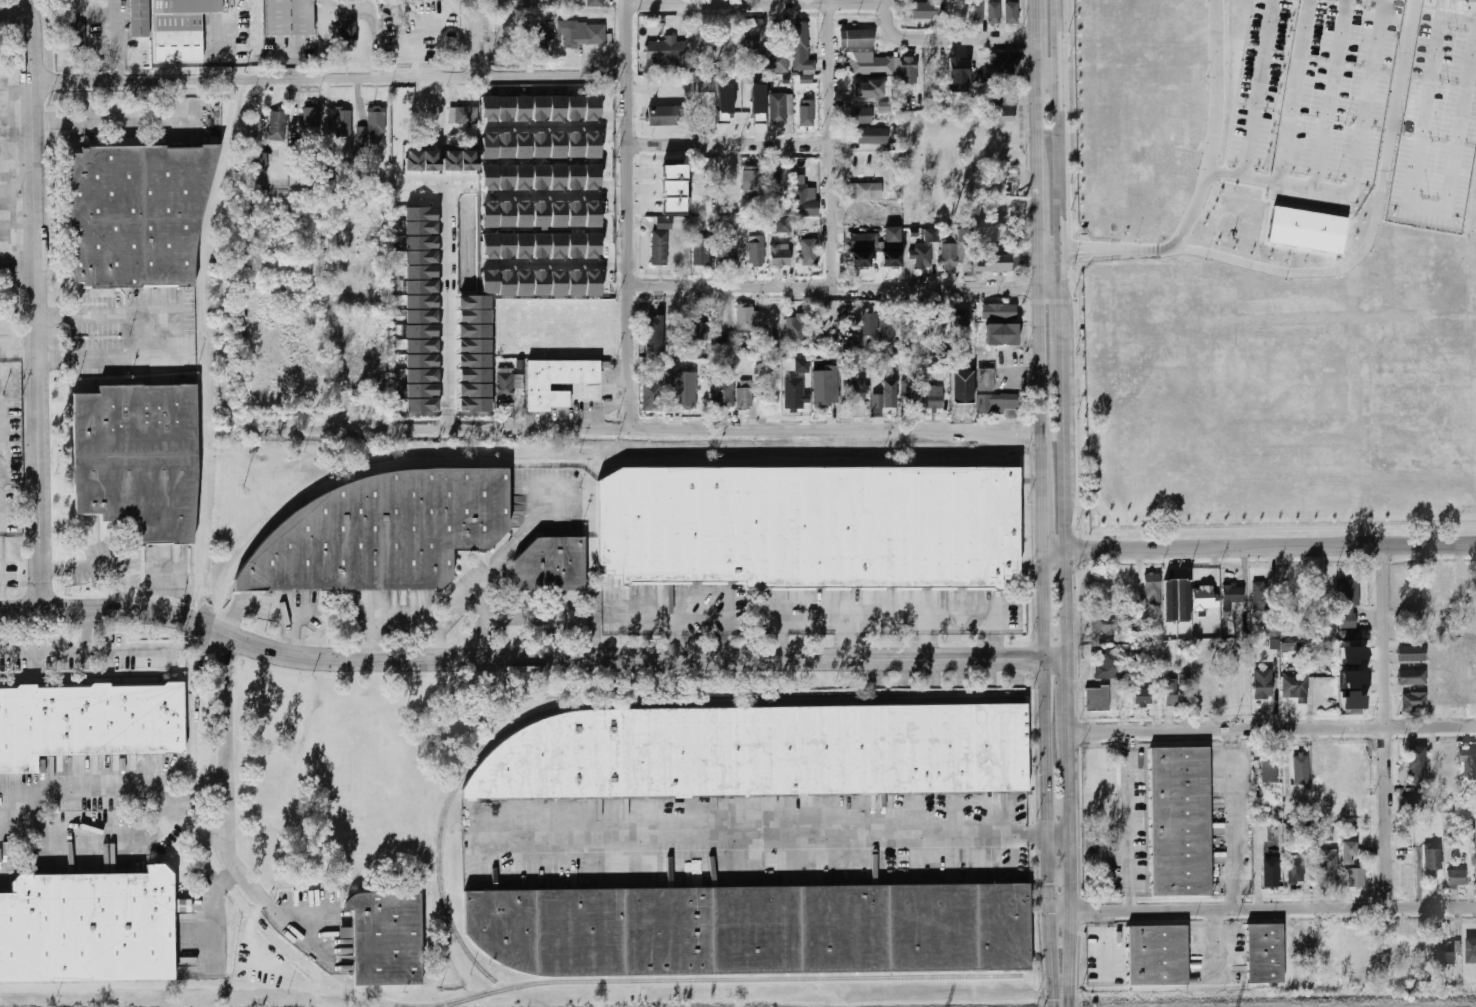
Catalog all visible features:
building: (525, 0)
building: (594, 3)
road: (888, 3)
road: (758, 5)
building: (187, 6)
building: (438, 9)
building: (922, 11)
building: (976, 12)
building: (994, 13)
building: (1012, 13)
building: (139, 18)
building: (291, 18)
road: (1036, 19)
building: (583, 34)
building: (753, 34)
building: (544, 35)
building: (348, 36)
building: (178, 38)
road: (481, 38)
building: (857, 38)
road: (949, 40)
building: (714, 48)
building: (801, 48)
road: (1267, 49)
road: (1377, 53)
building: (667, 54)
road: (1302, 54)
road: (1036, 56)
road: (1337, 57)
road: (1434, 61)
building: (774, 62)
building: (872, 65)
building: (1008, 65)
building: (909, 71)
building: (958, 71)
road: (473, 78)
road: (175, 81)
building: (703, 84)
road: (1469, 90)
building: (726, 105)
building: (505, 107)
building: (522, 107)
building: (557, 107)
building: (574, 107)
building: (592, 107)
building: (489, 108)
building: (540, 108)
building: (778, 109)
building: (753, 112)
building: (807, 113)
building: (463, 115)
building: (663, 115)
building: (861, 115)
building: (1004, 115)
building: (312, 118)
building: (344, 123)
road: (1038, 125)
road: (1214, 125)
building: (277, 126)
building: (376, 126)
road: (561, 126)
building: (874, 136)
road: (1060, 143)
building: (557, 145)
building: (574, 145)
building: (592, 145)
building: (490, 146)
building: (505, 146)
building: (523, 146)
building: (540, 146)
road: (732, 146)
road: (834, 146)
building: (261, 161)
building: (413, 161)
building: (431, 161)
building: (451, 161)
building: (468, 161)
building: (505, 176)
building: (540, 176)
building: (557, 176)
building: (575, 176)
building: (592, 176)
building: (490, 177)
building: (523, 177)
building: (751, 179)
building: (778, 179)
building: (673, 190)
building: (865, 190)
road: (559, 195)
building: (805, 204)
building: (139, 213)
building: (420, 214)
building: (505, 214)
building: (523, 214)
building: (540, 214)
building: (592, 214)
road: (629, 214)
building: (490, 215)
building: (558, 215)
building: (575, 215)
building: (664, 223)
building: (783, 225)
building: (420, 228)
building: (1305, 229)
road: (1038, 231)
building: (930, 235)
building: (963, 235)
building: (893, 236)
building: (864, 241)
building: (420, 242)
building: (540, 244)
building: (558, 244)
building: (490, 245)
building: (506, 245)
building: (523, 245)
building: (575, 245)
building: (592, 245)
road: (1067, 246)
building: (660, 248)
building: (701, 253)
building: (726, 253)
building: (757, 253)
building: (810, 253)
road: (1137, 253)
building: (780, 255)
building: (922, 256)
building: (949, 256)
building: (420, 257)
road: (1066, 257)
building: (993, 263)
road: (556, 264)
building: (420, 271)
building: (489, 281)
building: (506, 283)
building: (523, 283)
building: (558, 283)
building: (576, 283)
building: (593, 283)
building: (420, 286)
road: (844, 288)
building: (421, 302)
road: (37, 303)
road: (225, 307)
building: (475, 309)
road: (450, 311)
building: (999, 311)
building: (421, 316)
building: (745, 317)
building: (961, 319)
road: (1061, 322)
building: (870, 326)
building: (888, 327)
building: (937, 327)
building: (796, 329)
building: (909, 329)
building: (421, 331)
building: (475, 331)
building: (700, 332)
road: (151, 333)
building: (654, 336)
building: (722, 343)
building: (475, 345)
building: (421, 346)
building: (421, 360)
building: (475, 360)
building: (802, 366)
railway: (202, 371)
building: (422, 375)
building: (556, 379)
building: (985, 379)
building: (508, 383)
building: (683, 388)
building: (723, 389)
building: (421, 390)
building: (475, 390)
building: (854, 390)
road: (1039, 390)
building: (908, 391)
building: (795, 393)
building: (745, 394)
building: (885, 396)
building: (654, 398)
building: (935, 398)
building: (989, 402)
road: (633, 429)
building: (139, 460)
railway: (551, 462)
road: (1065, 507)
road: (1045, 522)
building: (809, 528)
building: (386, 532)
railway: (206, 543)
road: (1261, 550)
road: (103, 560)
building: (551, 566)
building: (1172, 583)
building: (1440, 588)
building: (1153, 589)
building: (1204, 592)
road: (0, 595)
building: (1232, 595)
building: (1260, 596)
building: (1350, 602)
road: (809, 612)
road: (269, 615)
building: (1108, 626)
road: (84, 629)
road: (374, 630)
road: (431, 631)
road: (674, 635)
road: (776, 635)
road: (924, 635)
road: (845, 636)
road: (993, 636)
building: (1288, 646)
road: (83, 652)
building: (1410, 652)
building: (1436, 655)
building: (1352, 657)
road: (529, 659)
building: (1109, 664)
building: (1411, 677)
building: (1355, 682)
building: (1263, 684)
building: (1296, 687)
building: (1446, 687)
building: (1213, 689)
building: (1178, 692)
building: (1146, 697)
building: (1097, 699)
building: (1412, 701)
railway: (620, 707)
road: (1069, 707)
building: (90, 722)
road: (1385, 728)
road: (1273, 729)
building: (761, 753)
building: (1468, 763)
building: (1333, 764)
building: (1419, 765)
road: (1046, 768)
building: (1301, 769)
building: (1270, 772)
road: (227, 783)
road: (109, 789)
building: (1414, 804)
building: (1181, 820)
road: (1231, 820)
road: (1128, 821)
road: (1061, 837)
road: (98, 841)
road: (760, 841)
building: (1350, 853)
building: (1433, 862)
road: (1074, 869)
building: (1329, 869)
building: (1296, 871)
building: (1271, 875)
building: (1357, 878)
building: (1457, 878)
road: (1263, 909)
road: (210, 911)
building: (87, 926)
building: (752, 930)
building: (387, 937)
building: (1357, 943)
building: (1415, 945)
building: (1447, 950)
building: (1471, 950)
building: (1265, 954)
building: (1157, 955)
building: (1331, 959)
railway: (732, 979)
railway: (198, 983)
road: (1064, 992)
road: (1058, 994)
railway: (6, 1003)
railway: (401, 1006)
road: (1061, 1006)

